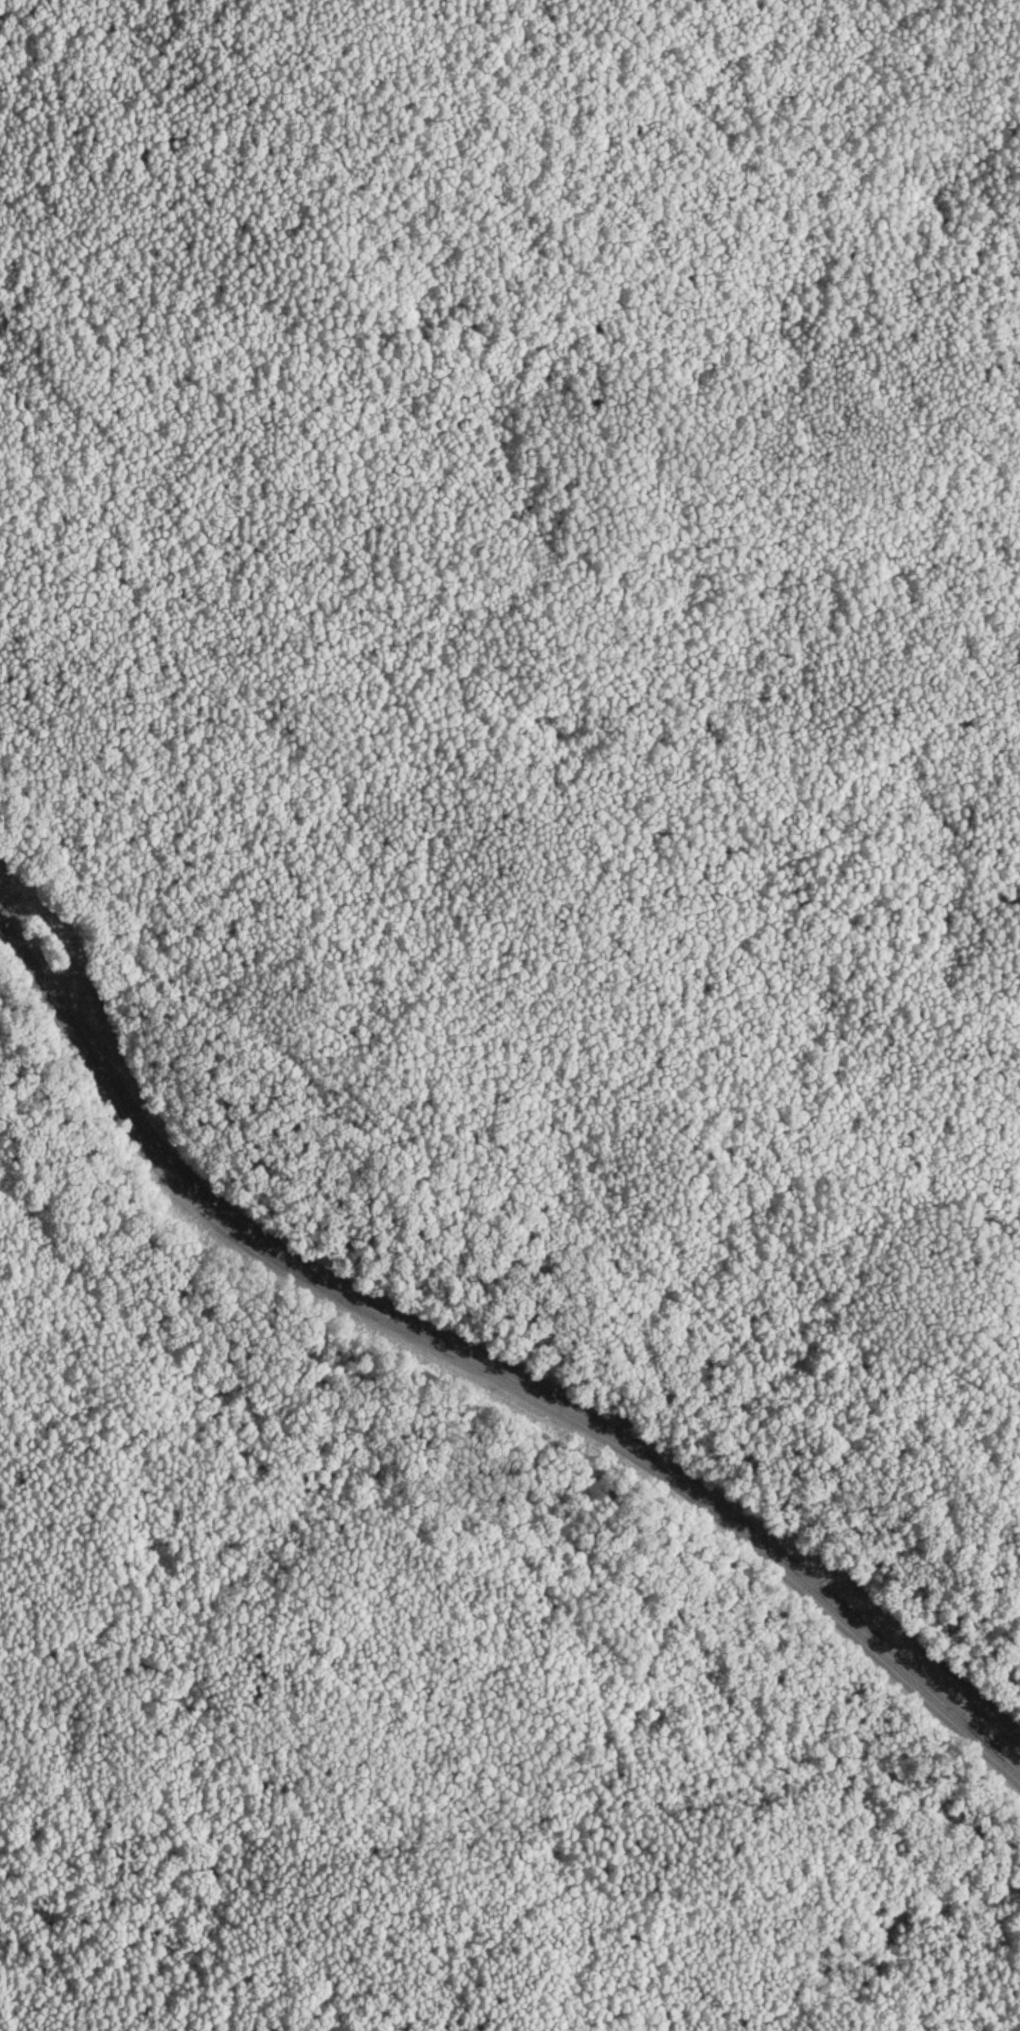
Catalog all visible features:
road: (486, 1364)

